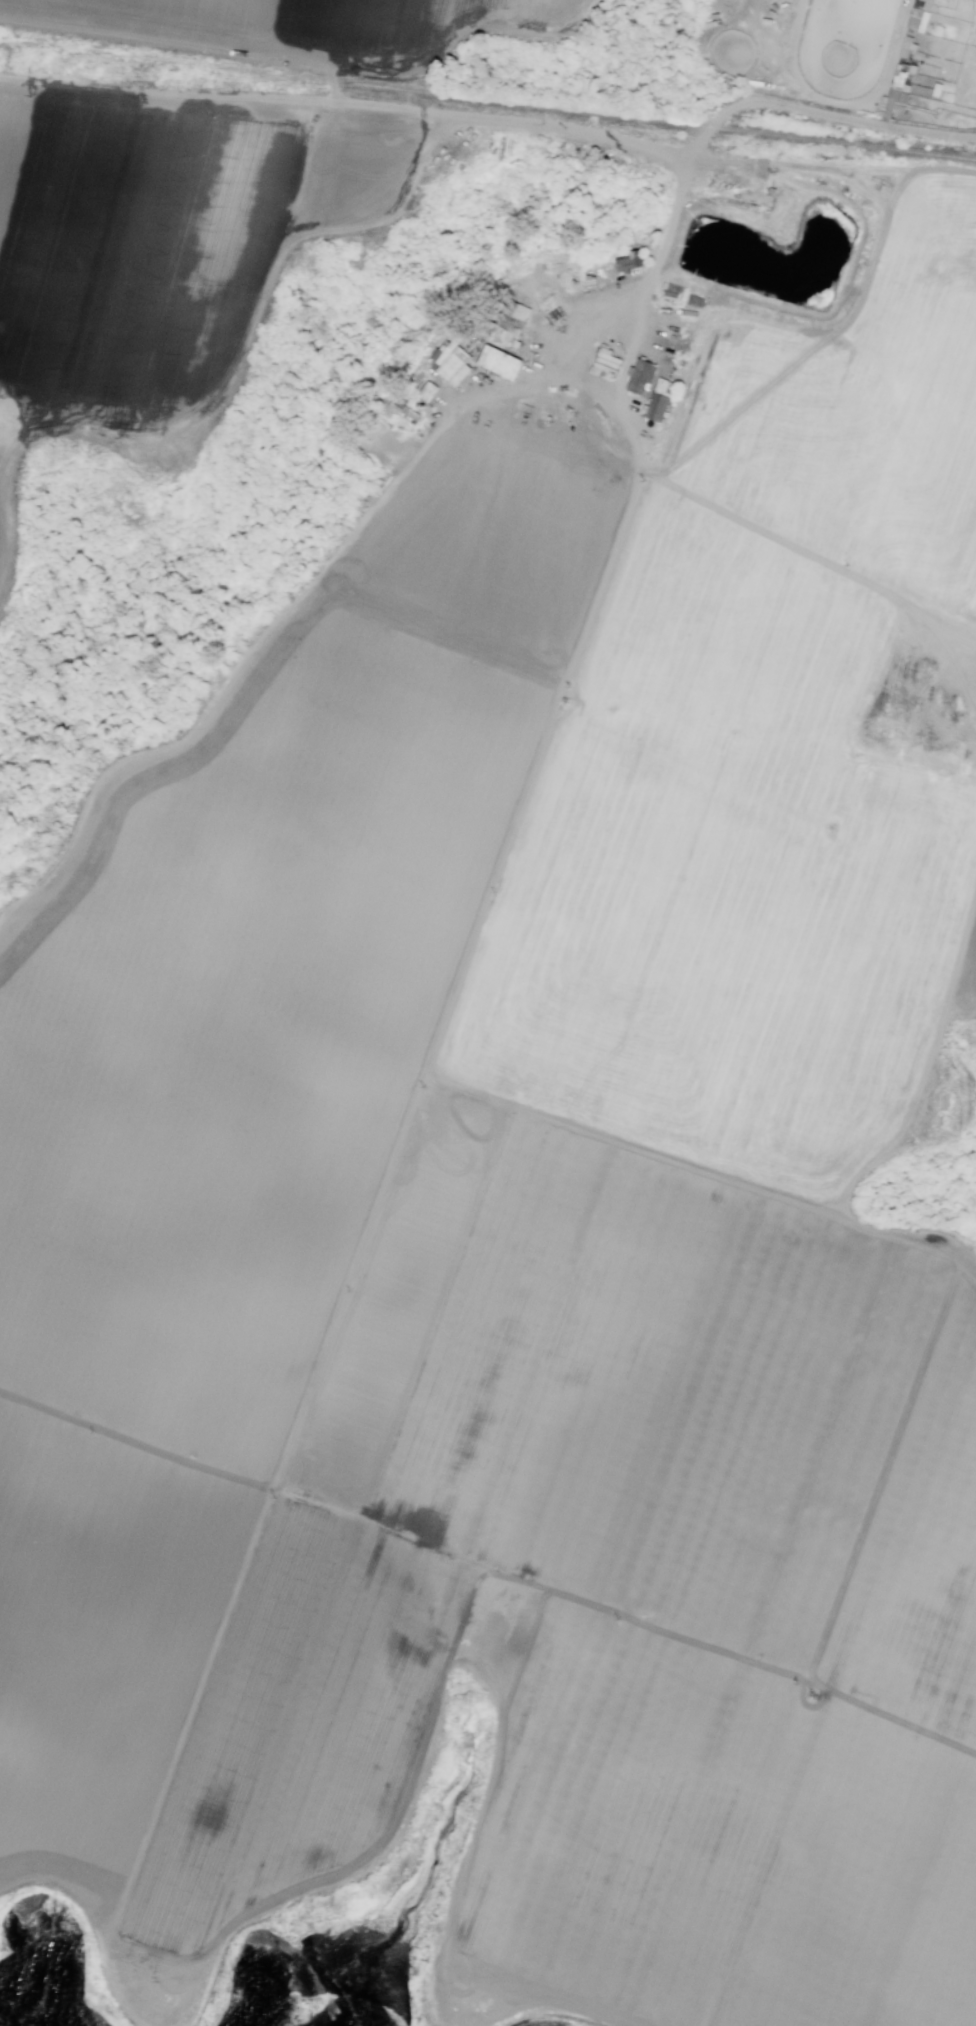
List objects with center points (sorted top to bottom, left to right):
building: (919, 15)
crop: (294, 24)
building: (907, 45)
crop: (800, 64)
road: (315, 69)
road: (333, 86)
building: (893, 95)
road: (257, 96)
railway: (487, 100)
road: (832, 170)
road: (680, 193)
crop: (158, 237)
building: (633, 262)
road: (271, 275)
building: (510, 326)
building: (451, 360)
building: (499, 362)
building: (645, 378)
building: (661, 409)
building: (405, 416)
road: (14, 432)
road: (1, 500)
crop: (2, 540)
road: (809, 553)
road: (282, 621)
road: (940, 651)
road: (534, 773)
road: (924, 1064)
road: (626, 1141)
crop: (514, 1151)
road: (903, 1236)
road: (270, 1502)
road: (488, 1572)
road: (443, 1678)
road: (104, 1920)
road: (561, 2013)

